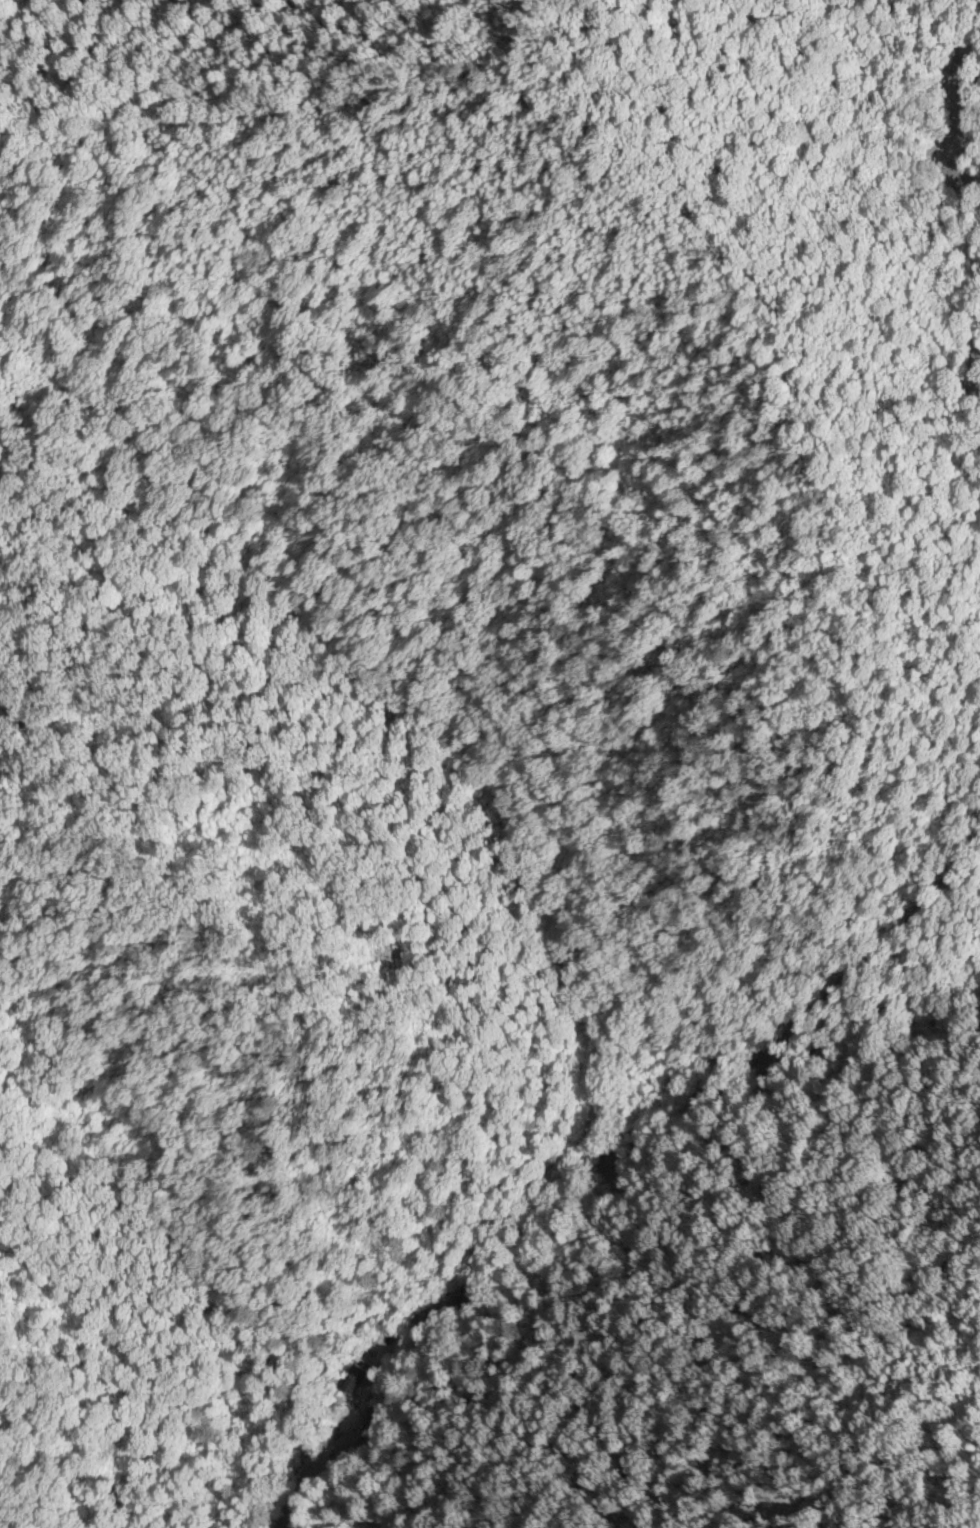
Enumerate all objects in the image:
road: (292, 1501)

